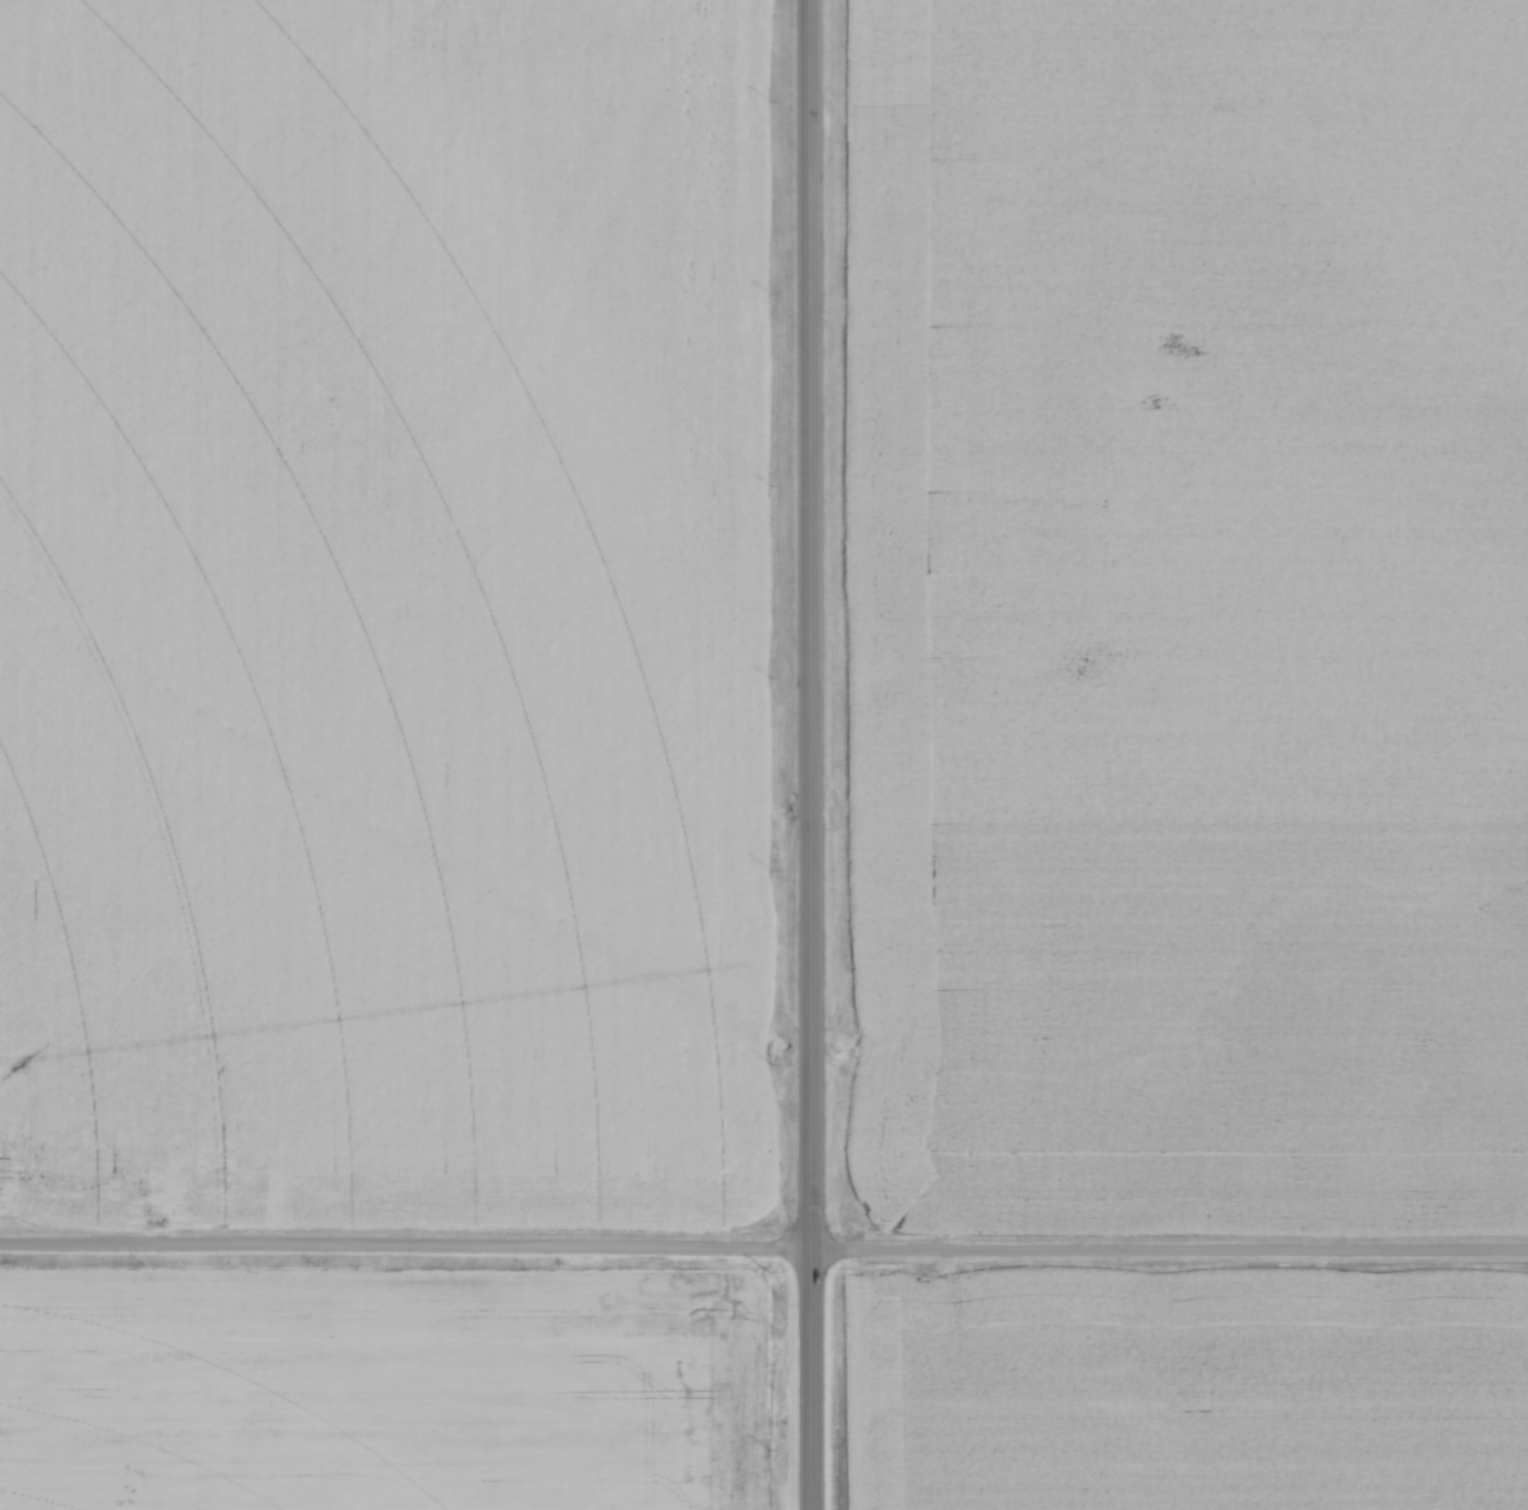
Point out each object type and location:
building: (799, 189)
building: (800, 211)
road: (807, 755)
road: (763, 1244)

